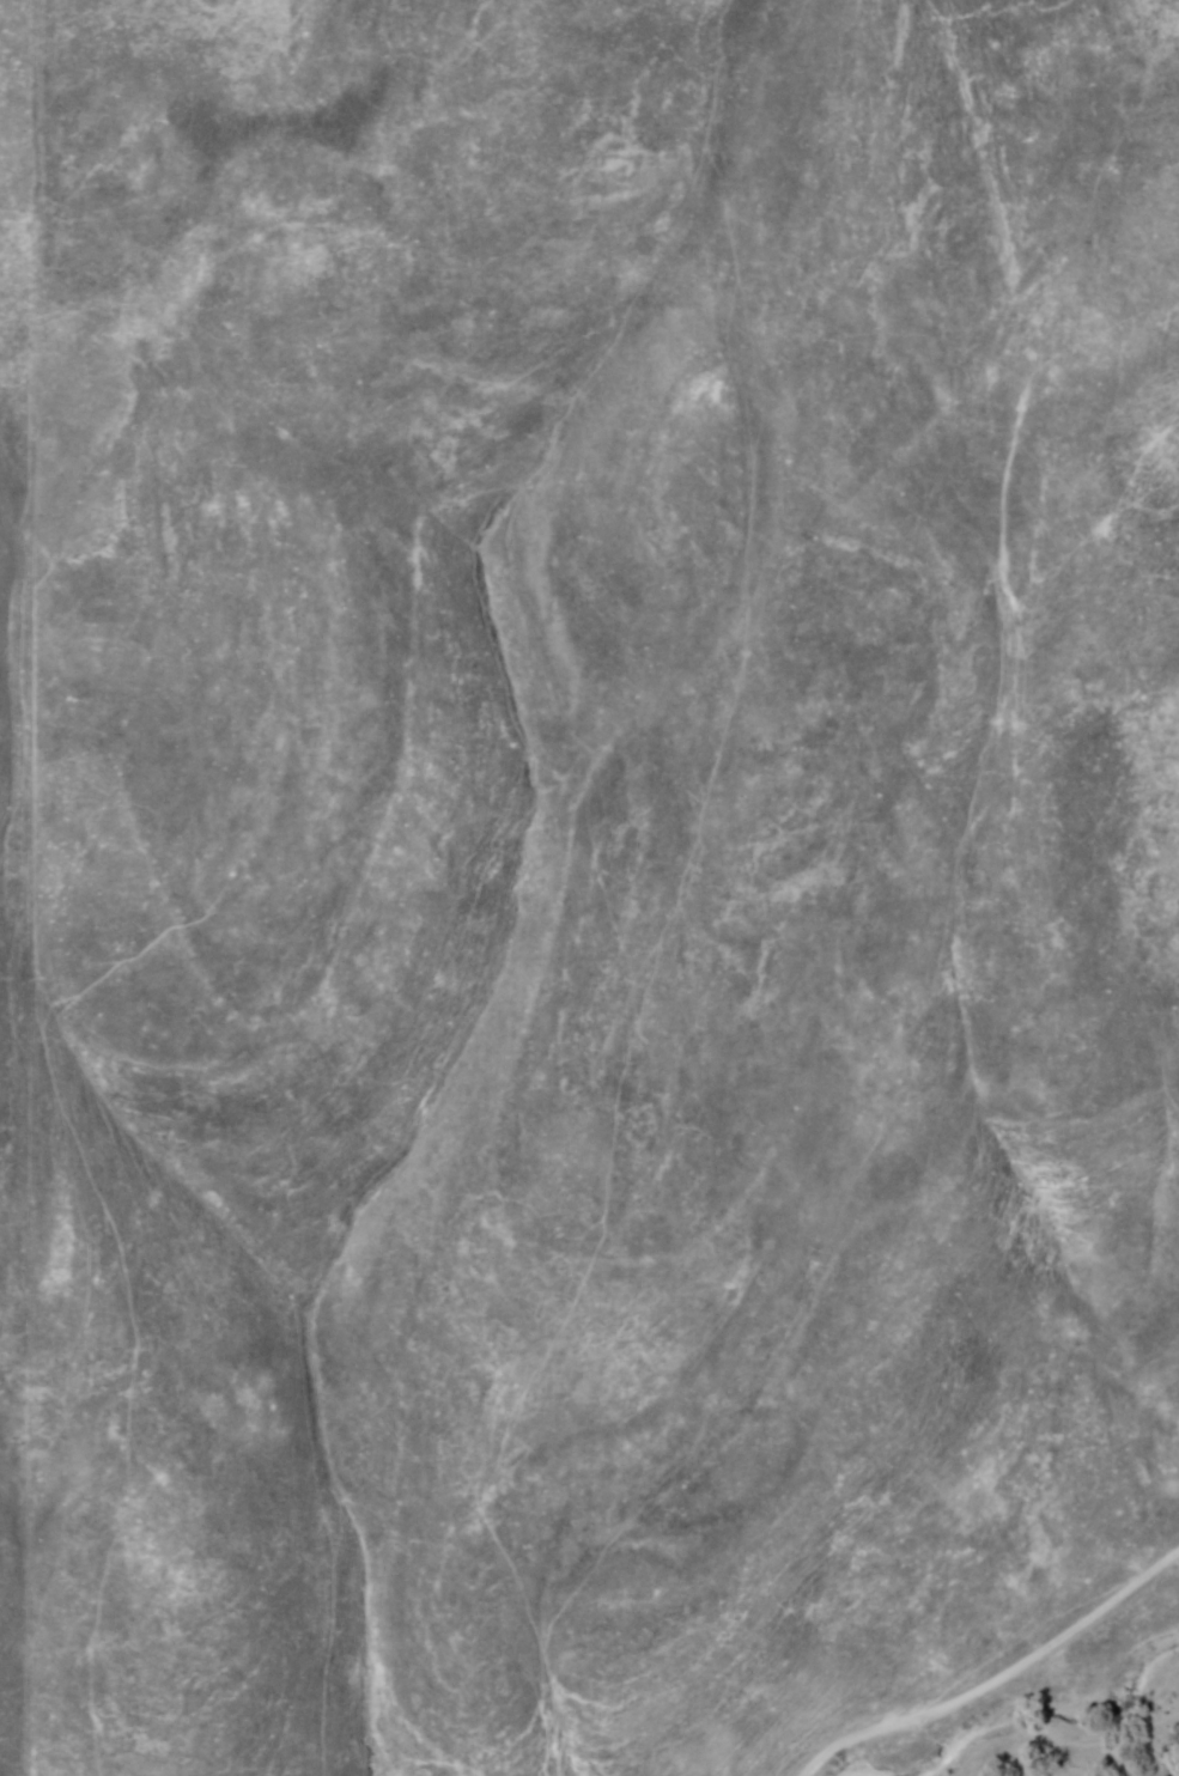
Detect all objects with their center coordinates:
road: (993, 1675)

